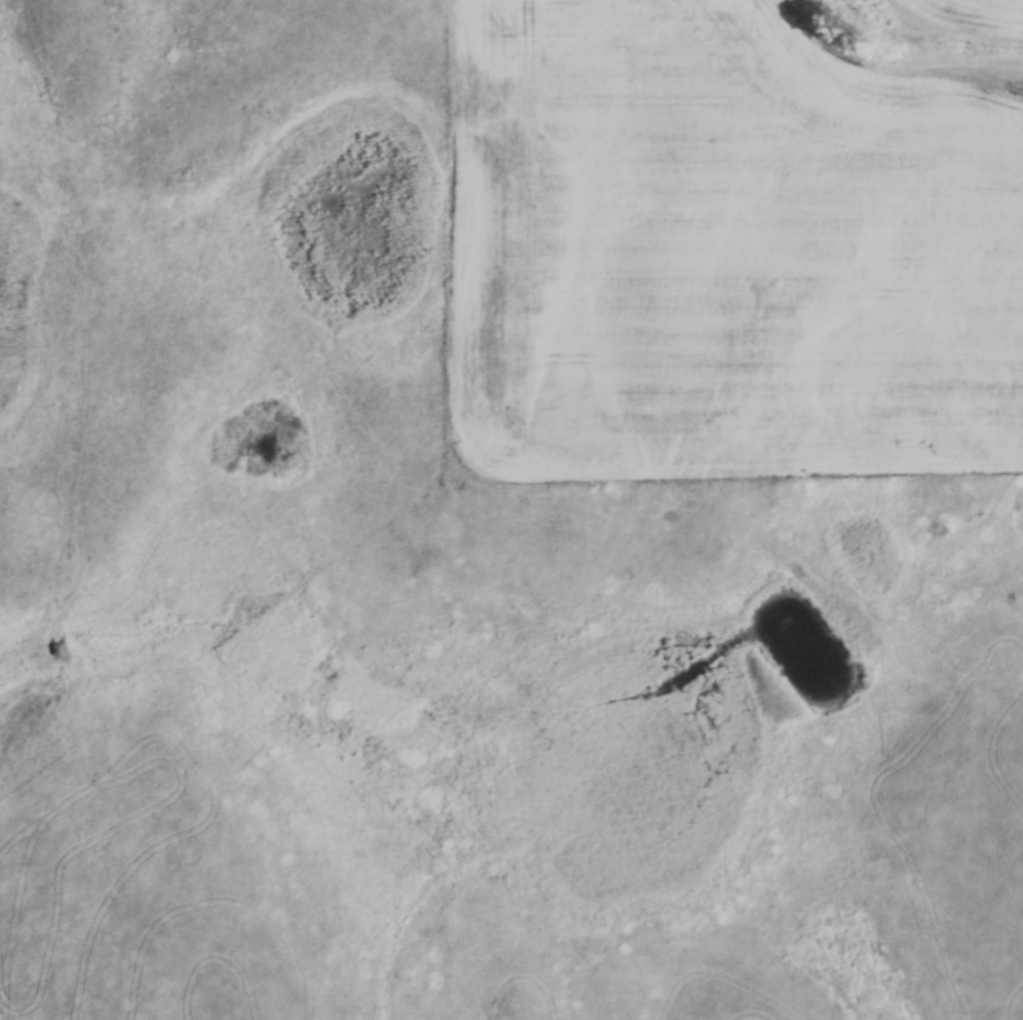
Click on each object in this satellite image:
river: (811, 655)

